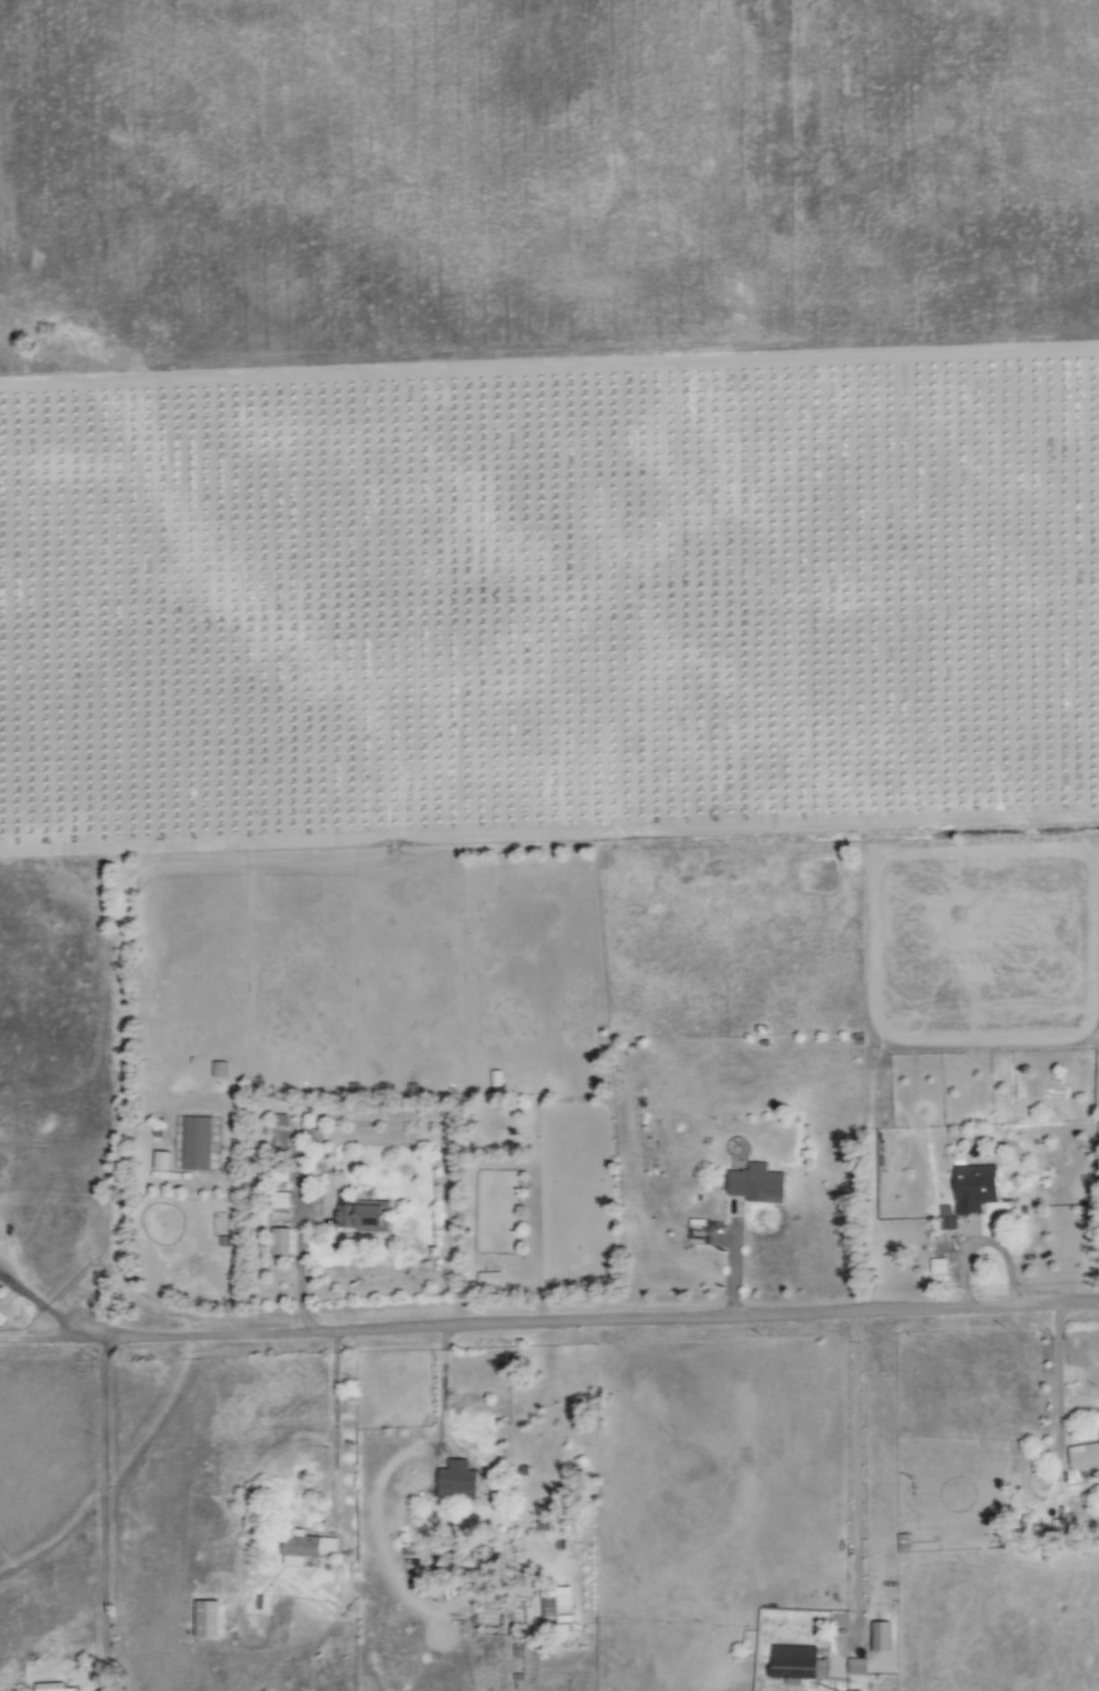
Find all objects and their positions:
building: (219, 1070)
building: (281, 1135)
building: (197, 1144)
building: (163, 1162)
building: (758, 1185)
building: (976, 1188)
building: (281, 1201)
building: (363, 1214)
building: (948, 1218)
building: (282, 1242)
building: (940, 1266)
road: (42, 1304)
road: (919, 1310)
road: (402, 1327)
road: (440, 1385)
road: (1058, 1385)
building: (1085, 1457)
building: (1086, 1477)
building: (457, 1485)
road: (99, 1490)
building: (308, 1549)
building: (207, 1619)
building: (799, 1663)
building: (859, 1668)
building: (52, 1688)

